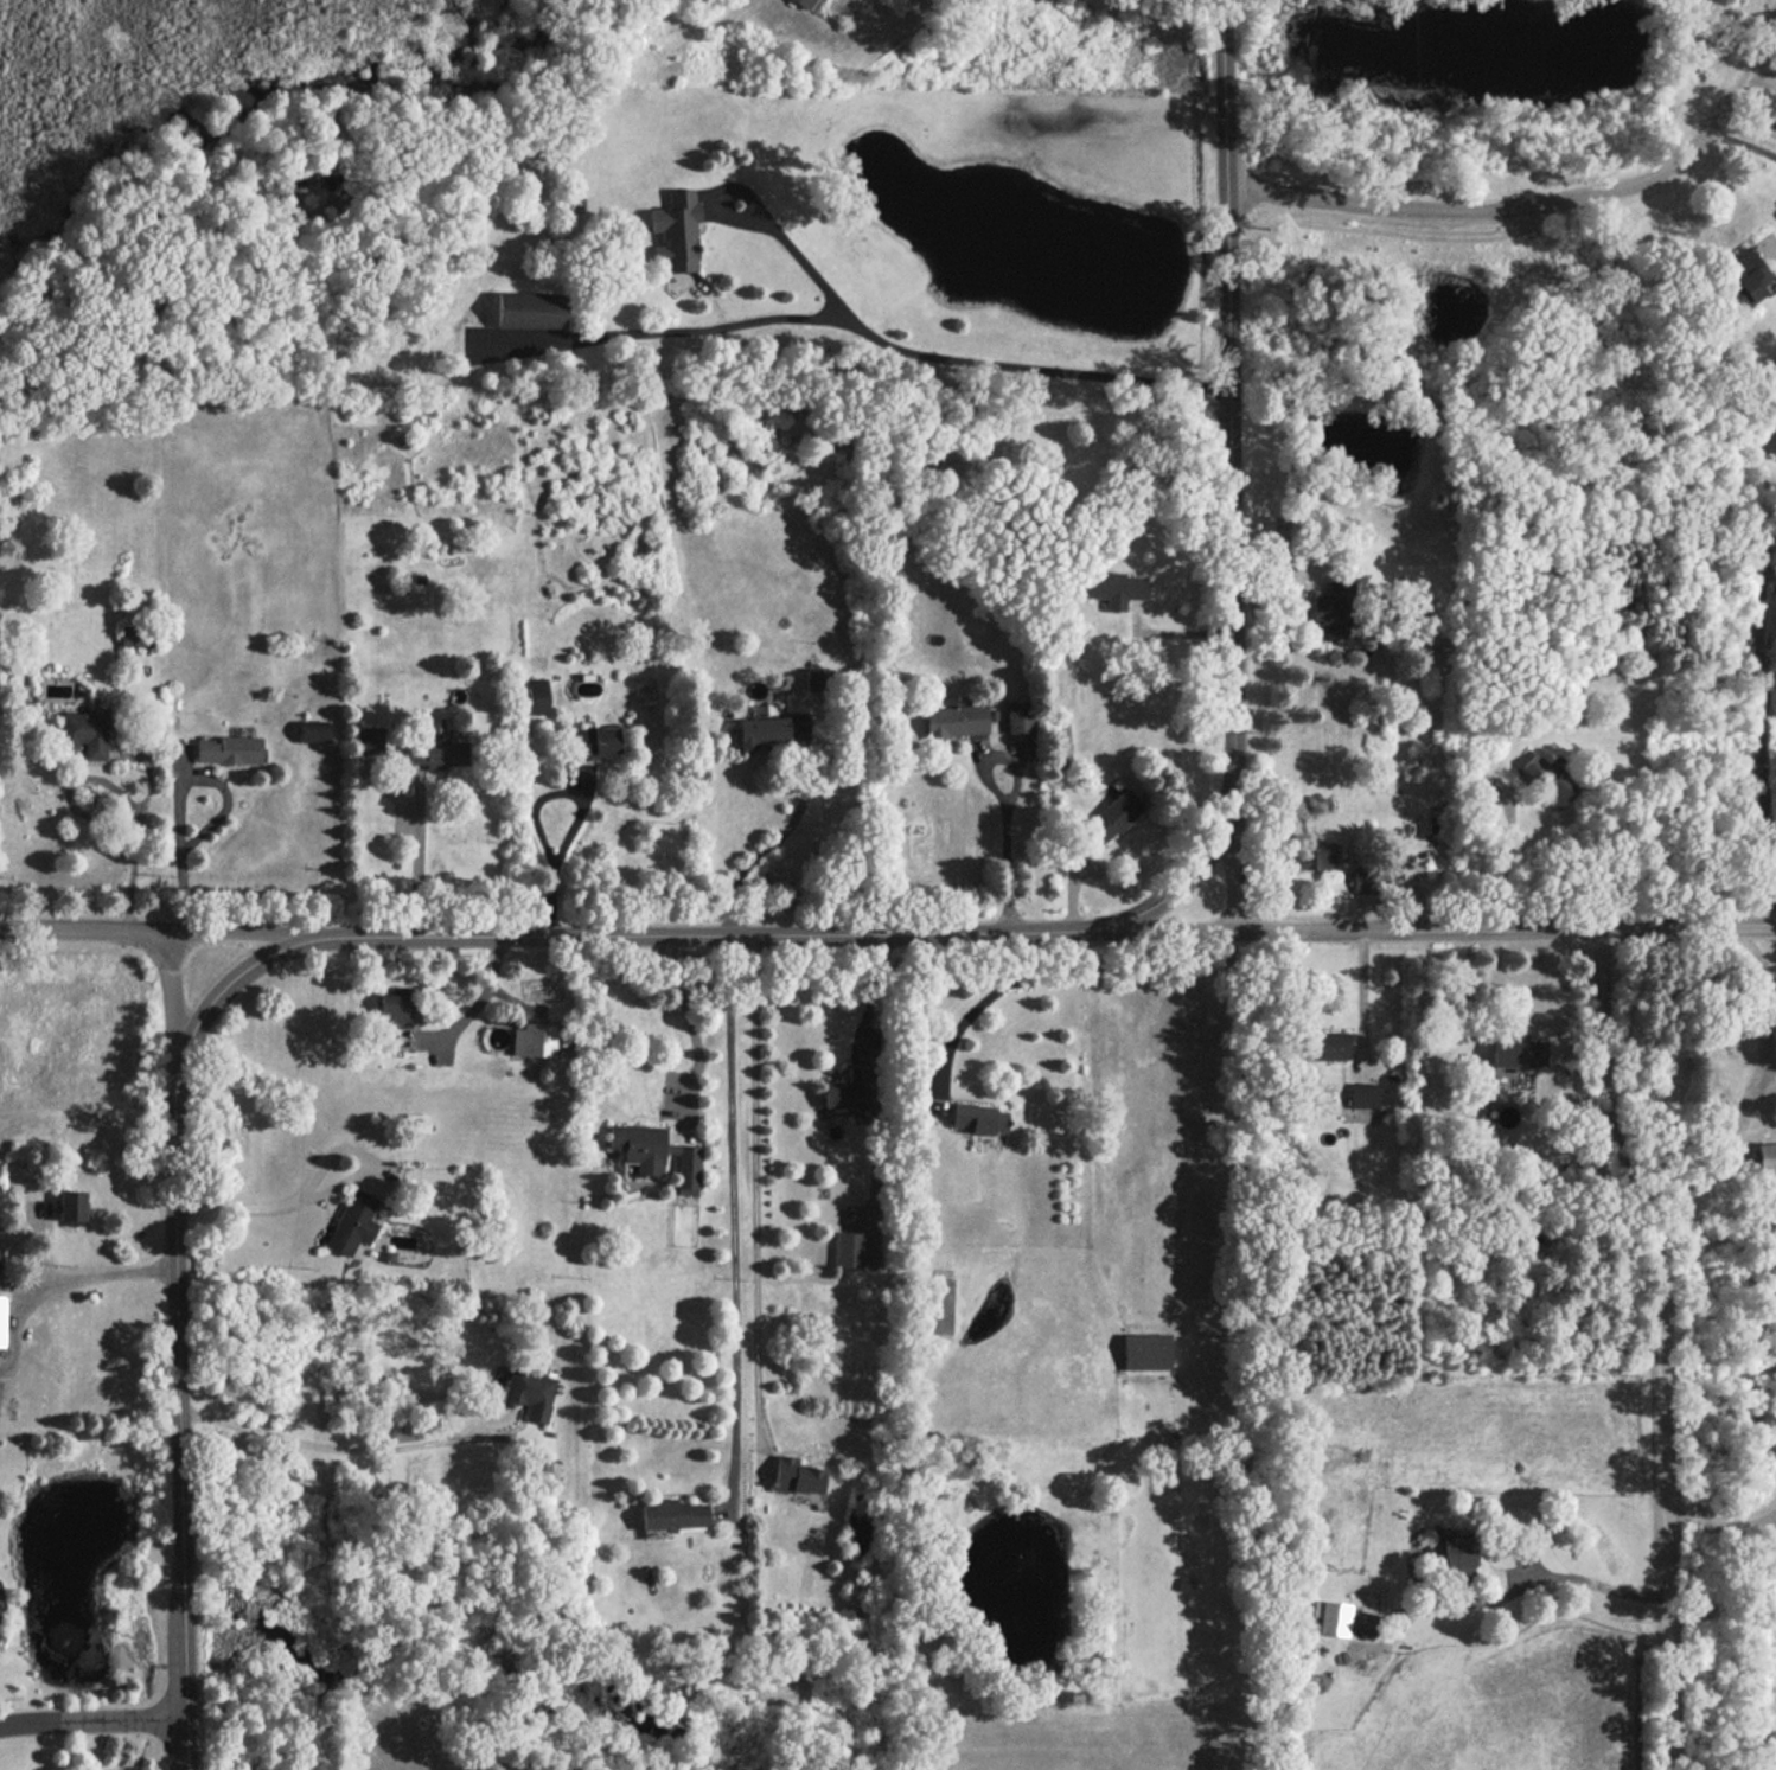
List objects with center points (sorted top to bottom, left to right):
building: (807, 4)
road: (1758, 78)
road: (1744, 140)
road: (1546, 209)
building: (677, 231)
building: (1745, 277)
building: (529, 309)
road: (963, 360)
building: (1765, 437)
road: (1228, 500)
building: (1114, 588)
building: (1333, 609)
building: (134, 635)
building: (816, 678)
building: (537, 695)
building: (1018, 716)
building: (954, 718)
road: (1759, 727)
building: (313, 730)
building: (773, 730)
building: (85, 731)
building: (371, 737)
building: (596, 741)
building: (228, 749)
building: (437, 752)
building: (1545, 779)
building: (1113, 814)
road: (142, 829)
road: (759, 848)
road: (1007, 849)
road: (181, 851)
road: (560, 852)
building: (1312, 856)
road: (420, 858)
road: (1234, 862)
road: (1508, 863)
building: (1365, 881)
road: (1433, 925)
road: (174, 932)
road: (720, 932)
road: (1759, 946)
road: (1362, 990)
road: (1464, 990)
road: (870, 991)
road: (484, 1001)
road: (966, 1003)
road: (171, 1010)
building: (392, 1014)
road: (689, 1018)
building: (535, 1039)
building: (1324, 1043)
building: (1518, 1052)
road: (1763, 1055)
building: (849, 1088)
building: (1363, 1094)
building: (978, 1117)
building: (416, 1122)
building: (657, 1152)
building: (1765, 1156)
road: (759, 1182)
building: (71, 1206)
road: (260, 1208)
road: (734, 1215)
building: (352, 1222)
building: (849, 1248)
road: (95, 1276)
road: (177, 1301)
building: (1, 1319)
road: (1660, 1341)
building: (1146, 1350)
building: (529, 1392)
road: (350, 1451)
building: (794, 1475)
building: (671, 1513)
road: (1721, 1515)
road: (1771, 1517)
building: (1457, 1551)
road: (1592, 1582)
building: (1346, 1619)
road: (92, 1718)
building: (1774, 1746)

